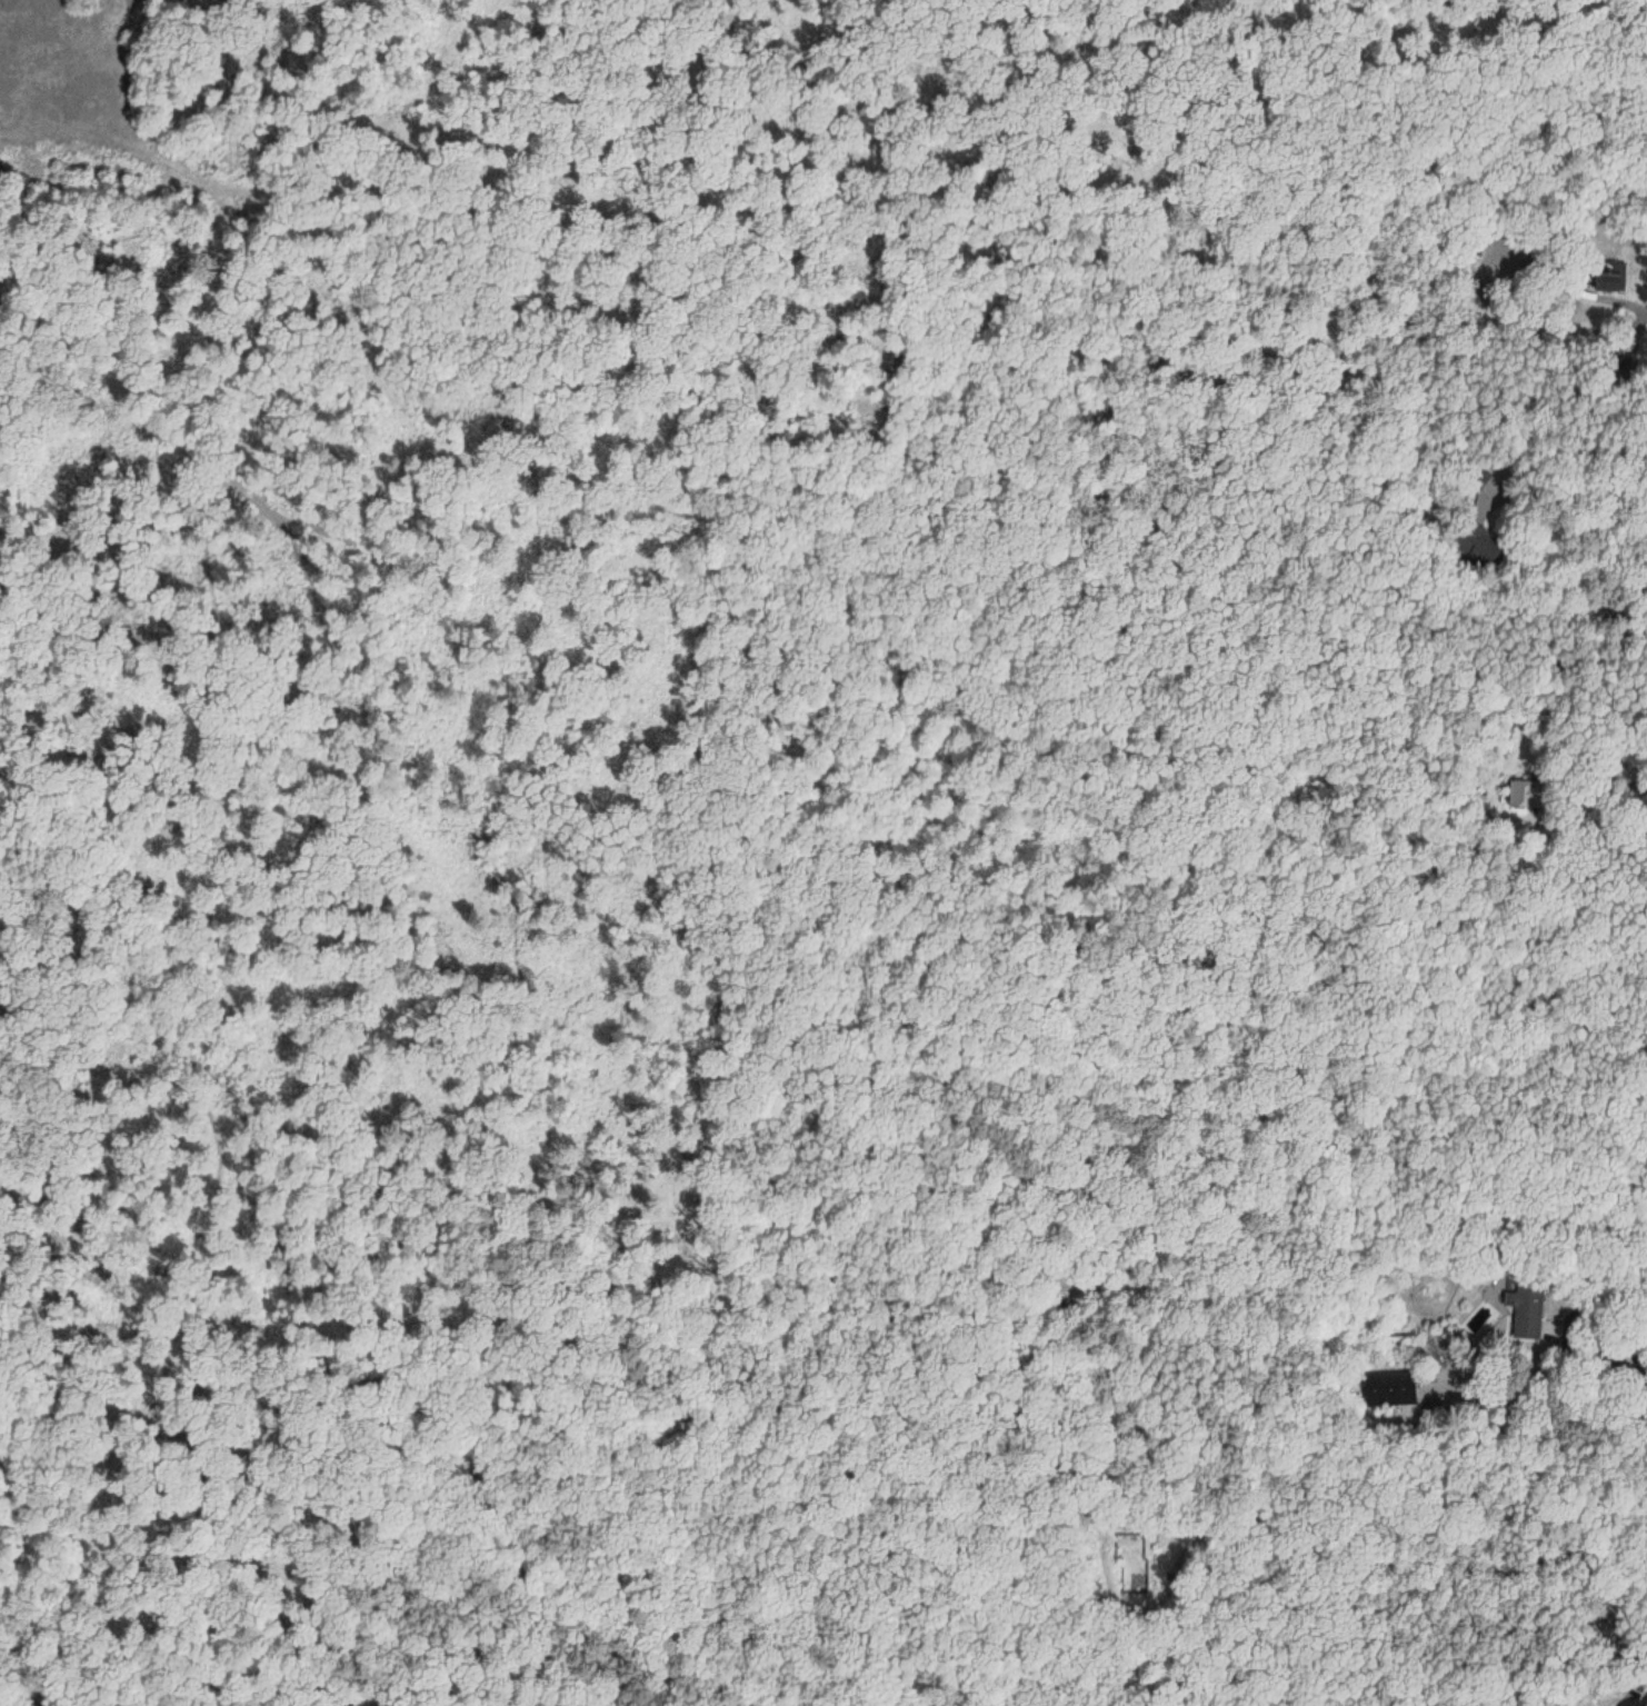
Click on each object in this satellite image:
building: (1476, 477)
building: (1476, 538)
road: (1507, 688)
building: (1527, 794)
road: (1529, 1062)
building: (1525, 1309)
road: (1533, 1378)
building: (1389, 1389)
road: (1546, 1649)

